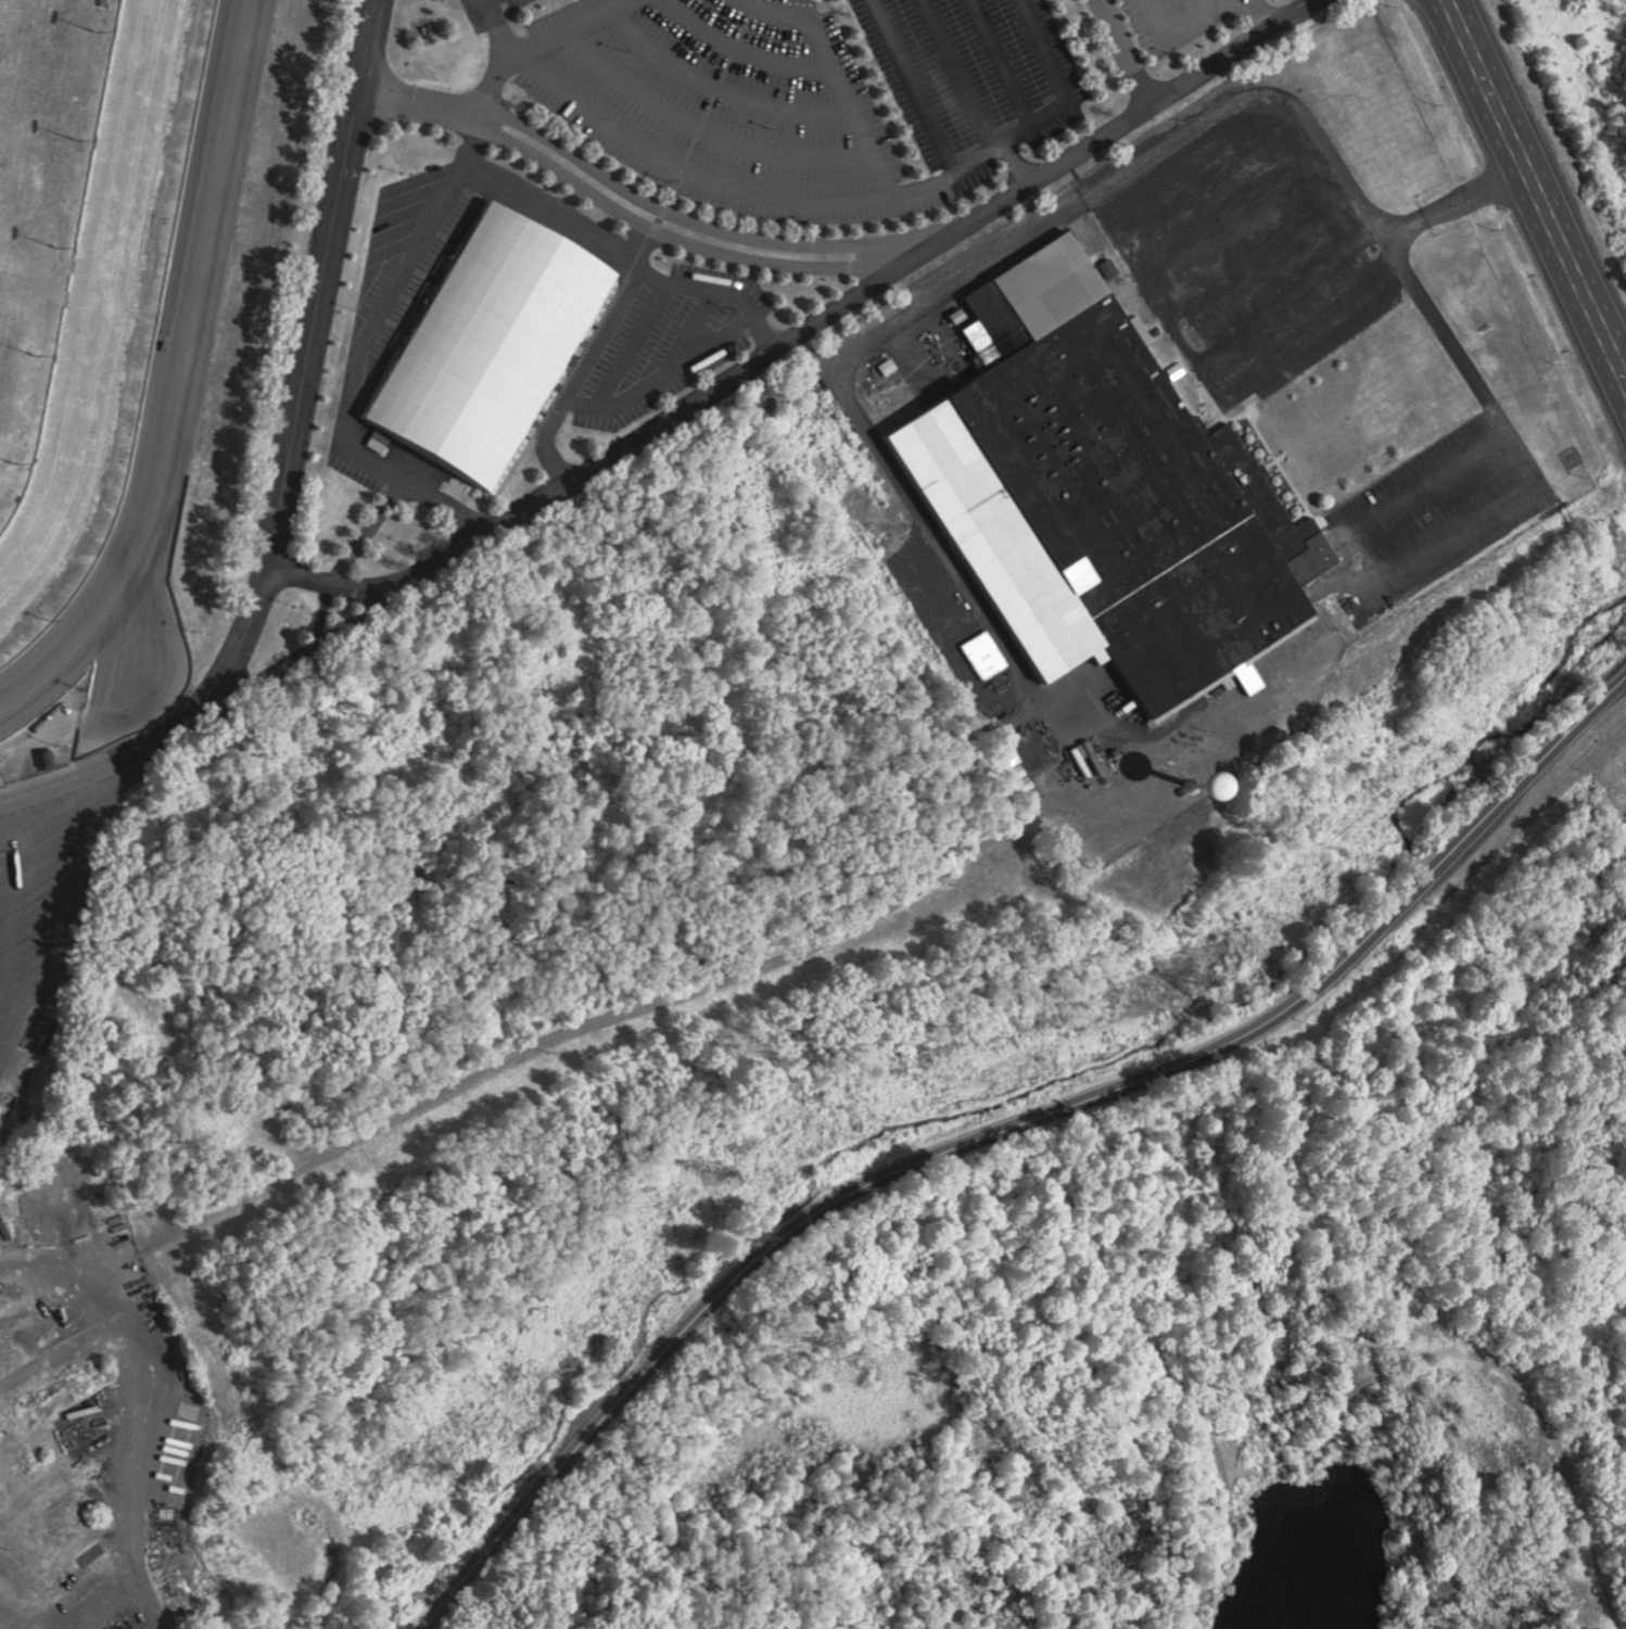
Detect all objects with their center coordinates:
road: (1199, 5)
parking lot: (487, 7)
road: (1266, 15)
parking lot: (1168, 16)
road: (1181, 22)
road: (574, 26)
road: (1045, 51)
road: (1128, 53)
road: (1007, 62)
parking lot: (969, 65)
road: (961, 75)
road: (839, 76)
road: (491, 84)
road: (925, 84)
road: (1254, 90)
road: (406, 100)
parking lot: (719, 100)
road: (1015, 168)
road: (1202, 170)
road: (753, 192)
road: (1526, 207)
road: (1227, 208)
road: (688, 216)
parking lot: (1245, 241)
road: (689, 244)
road: (1255, 250)
road: (1392, 278)
track: (92, 284)
road: (1299, 289)
road: (806, 331)
building: (484, 346)
road: (307, 373)
road: (1482, 387)
road: (859, 407)
building: (1114, 487)
road: (1399, 491)
parking lot: (1425, 504)
road: (114, 723)
road: (96, 773)
road: (1007, 1130)
road: (1304, 1321)
road: (160, 1392)
road: (947, 1571)
building: (117, 1625)
building: (138, 1628)

